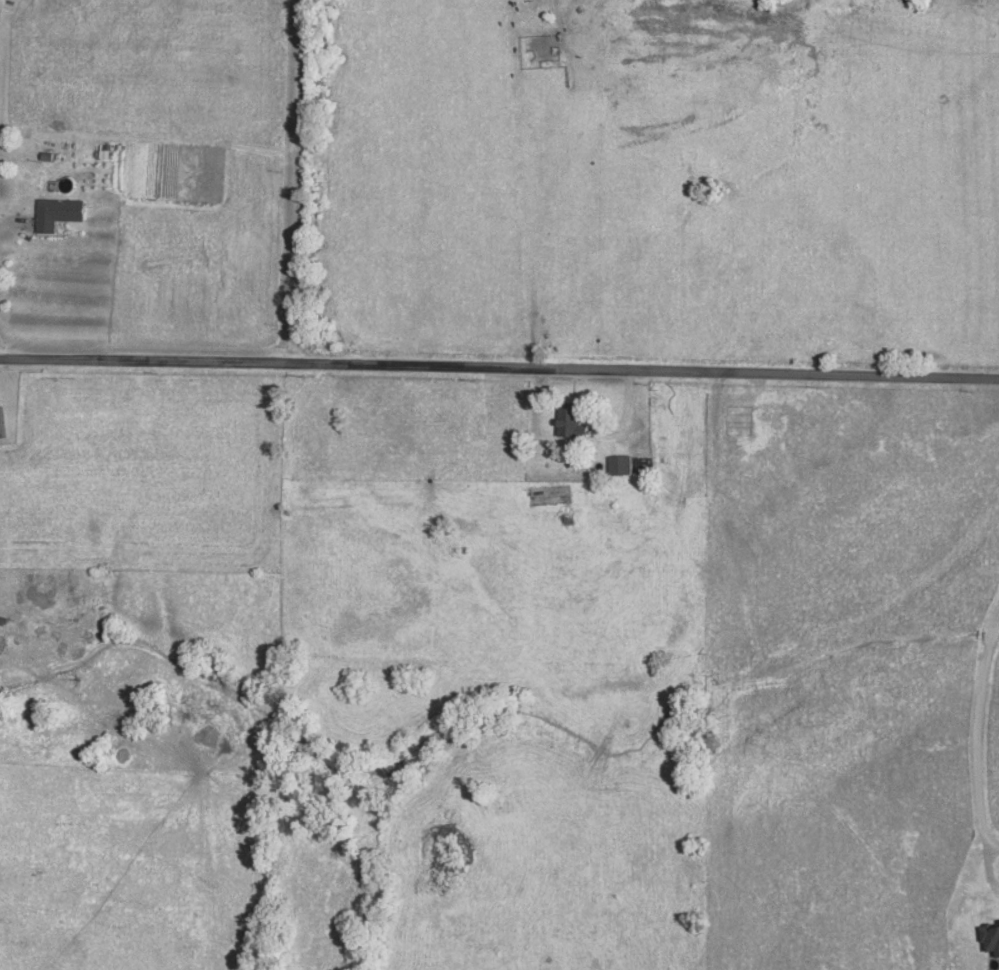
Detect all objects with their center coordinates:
building: (59, 212)
road: (14, 225)
road: (499, 368)
building: (658, 420)
building: (571, 423)
building: (2, 424)
building: (620, 465)
road: (975, 735)

